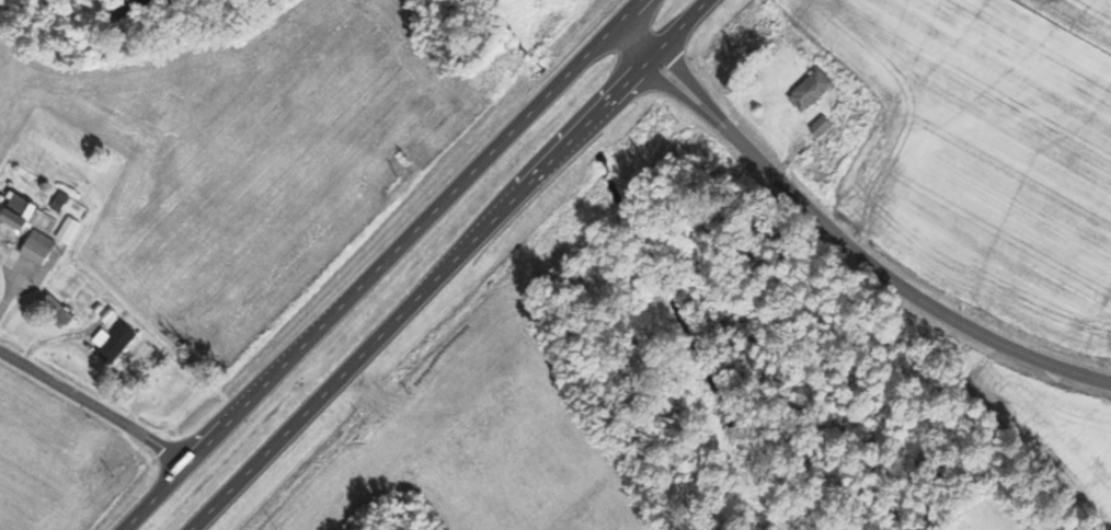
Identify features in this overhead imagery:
building: (814, 91)
building: (823, 127)
building: (28, 226)
building: (69, 229)
road: (843, 234)
road: (458, 265)
road: (383, 266)
building: (59, 311)
building: (116, 342)
road: (94, 408)
building: (423, 518)

